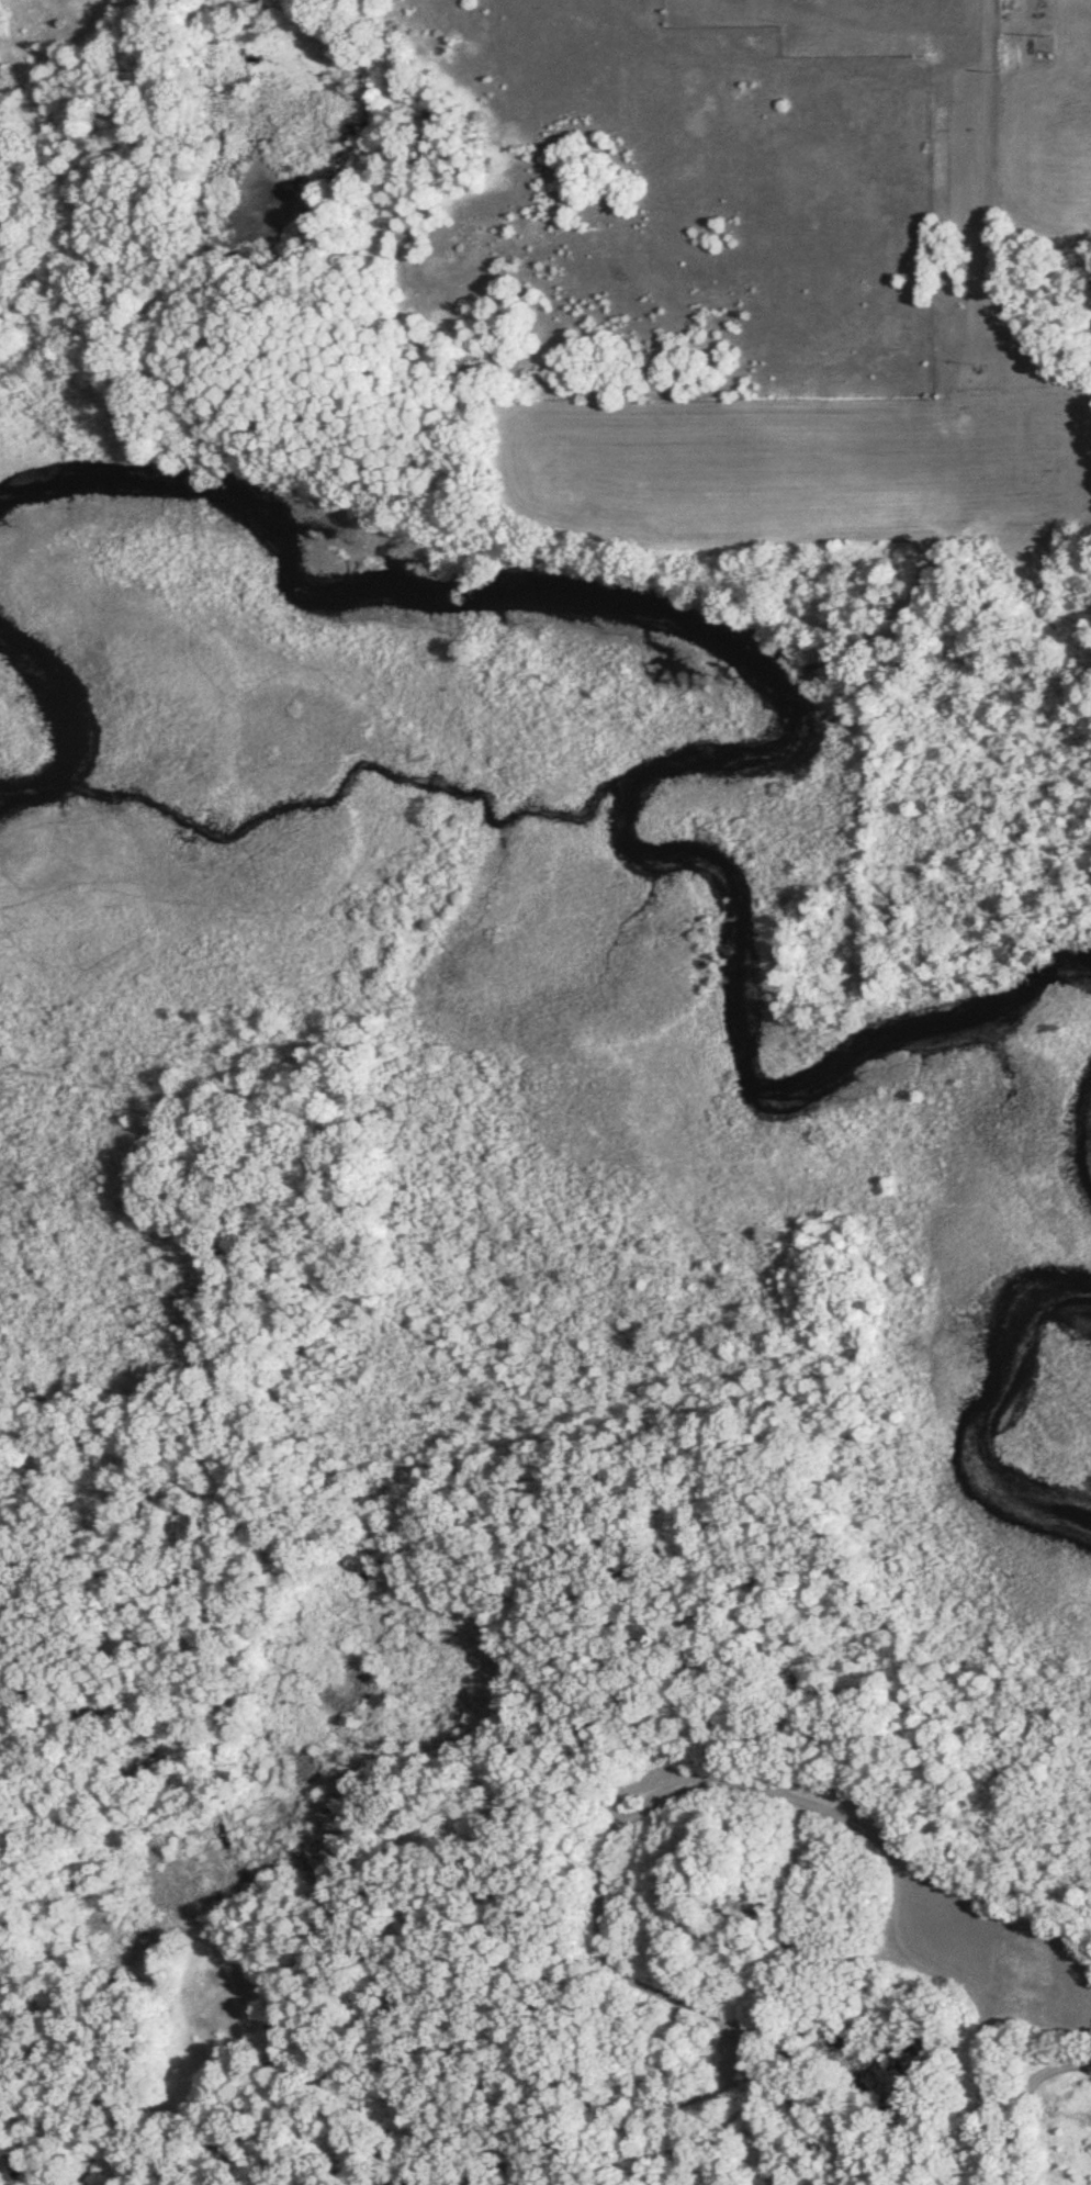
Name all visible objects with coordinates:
road: (1003, 203)
road: (196, 1413)
road: (103, 2097)
road: (1015, 2127)

